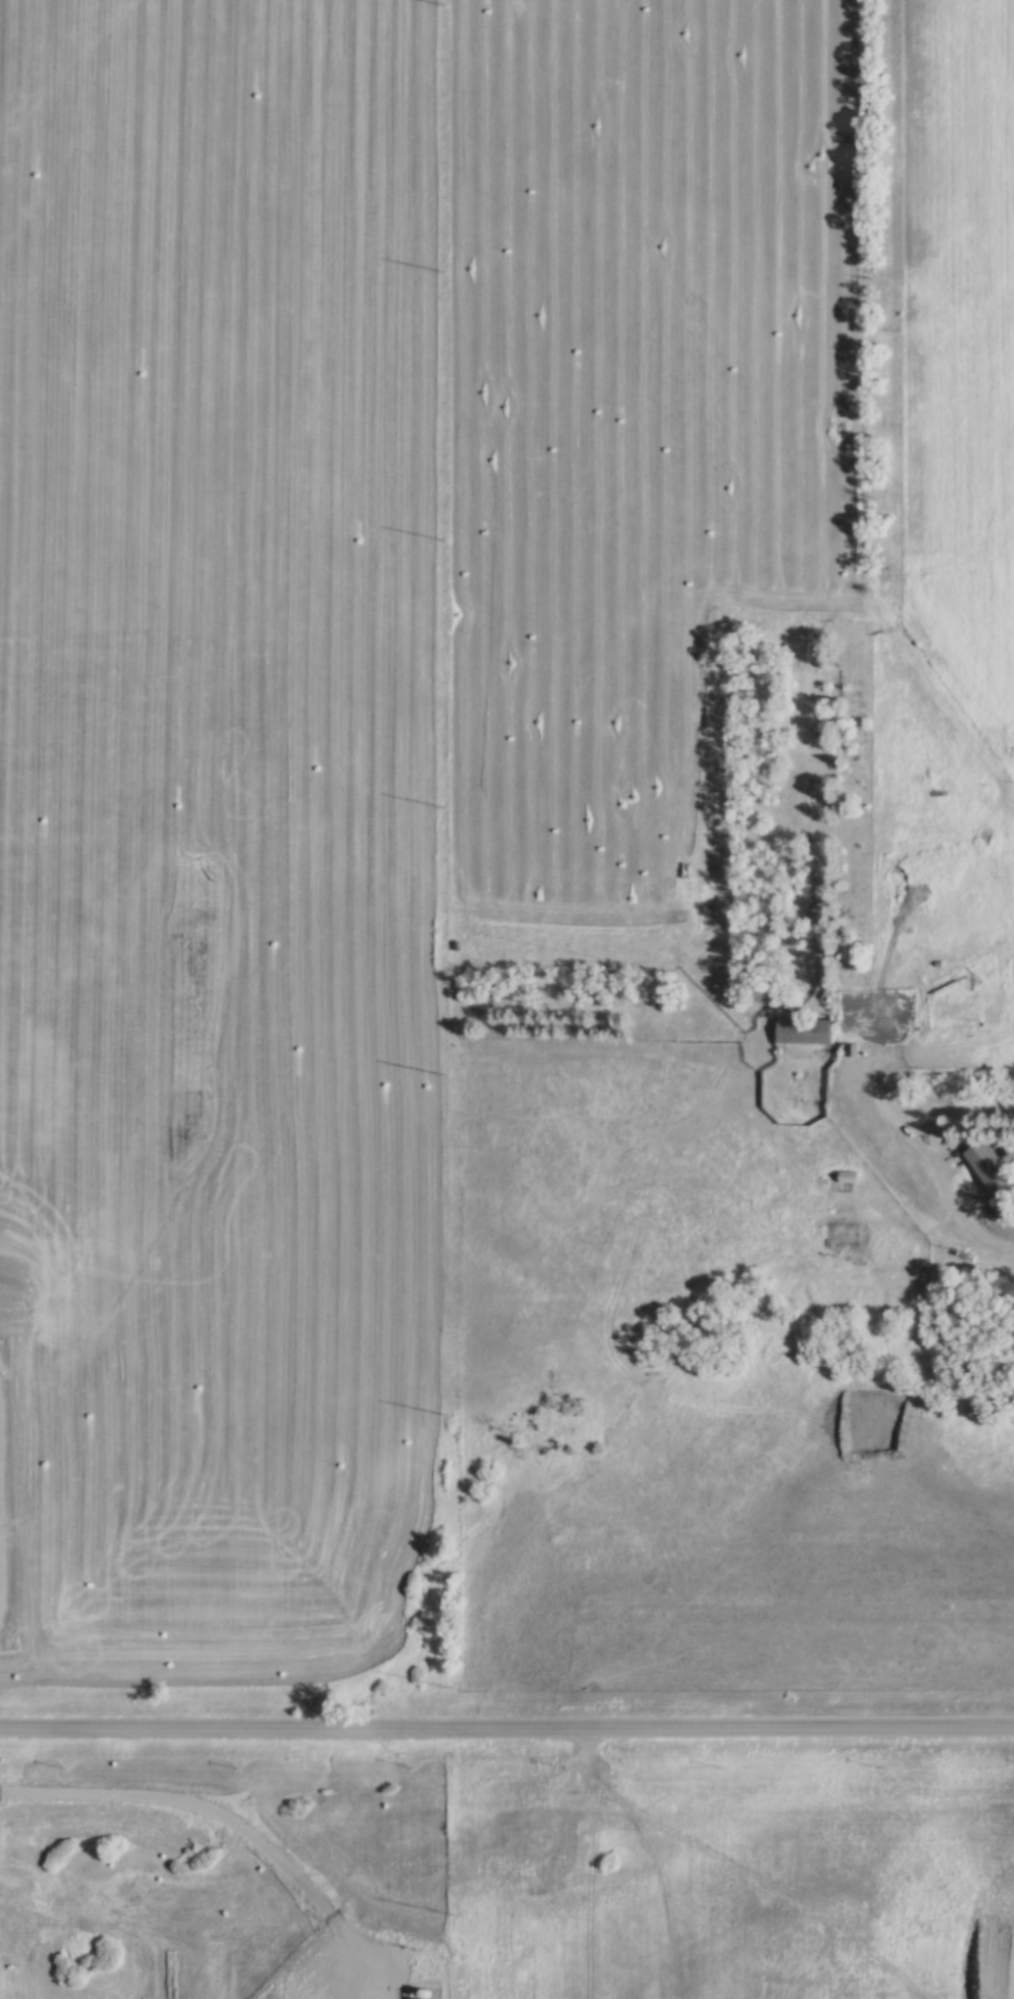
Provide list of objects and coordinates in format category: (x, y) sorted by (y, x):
building: (799, 1031)
road: (885, 1061)
building: (985, 1166)
building: (844, 1177)
road: (961, 1221)
road: (507, 1733)
road: (721, 1860)

